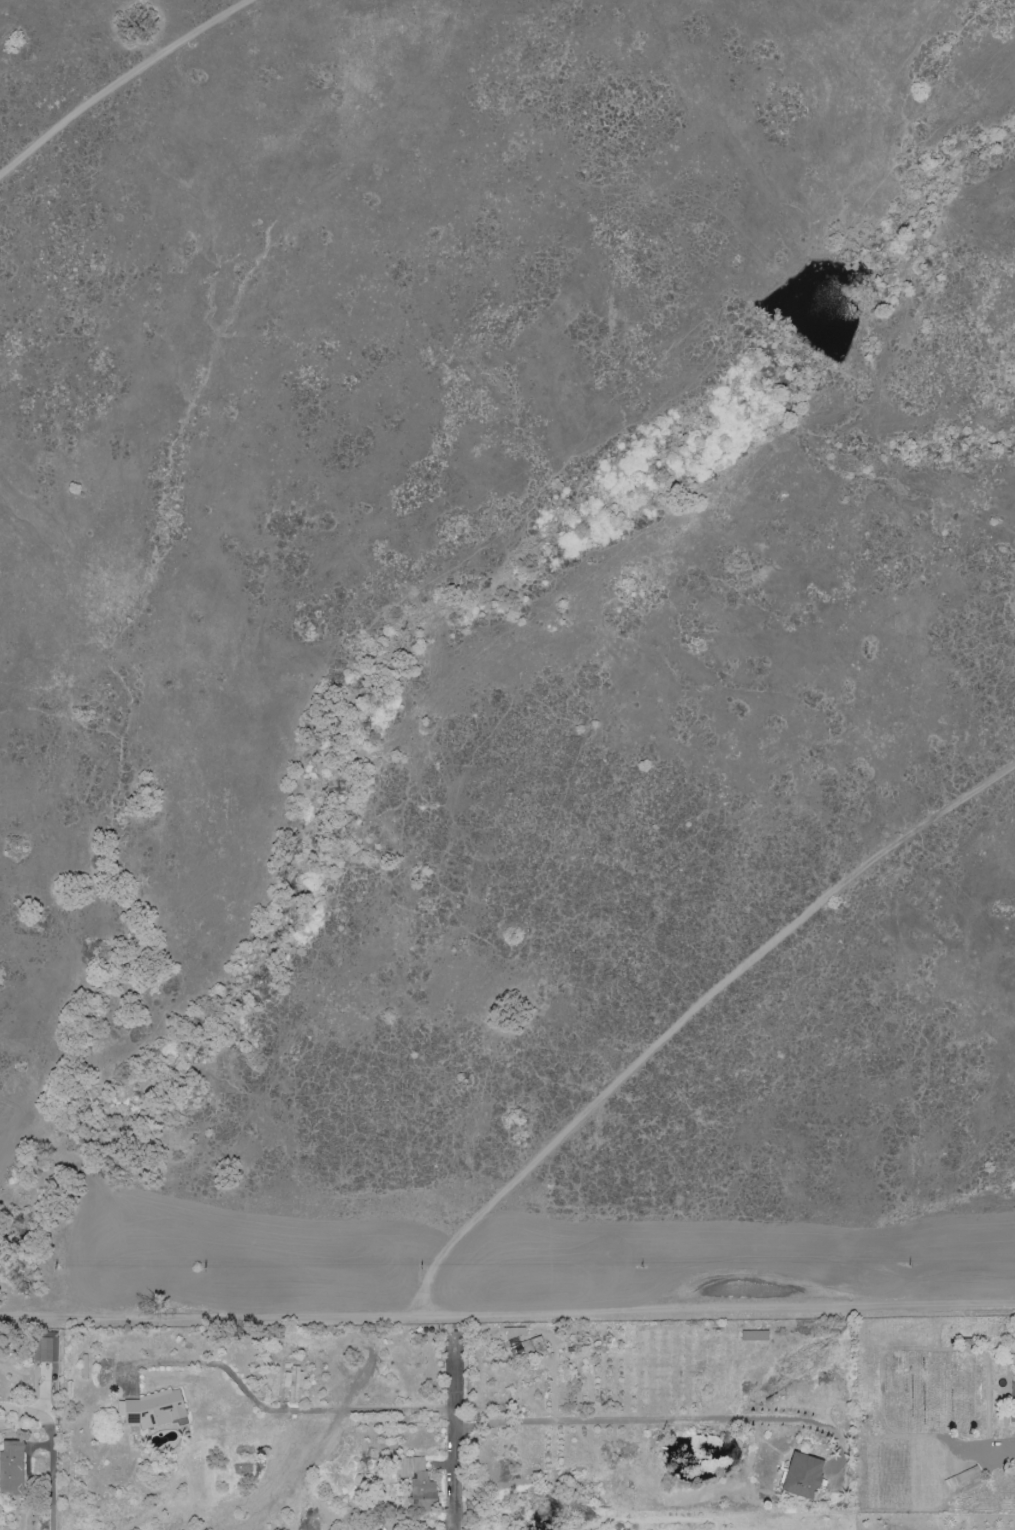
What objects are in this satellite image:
road: (507, 1315)
building: (513, 1333)
building: (755, 1335)
building: (526, 1347)
building: (46, 1350)
building: (293, 1382)
building: (153, 1409)
road: (282, 1411)
road: (26, 1412)
road: (660, 1421)
road: (456, 1436)
building: (12, 1468)
building: (805, 1476)
road: (51, 1477)
building: (421, 1480)
building: (964, 1482)

